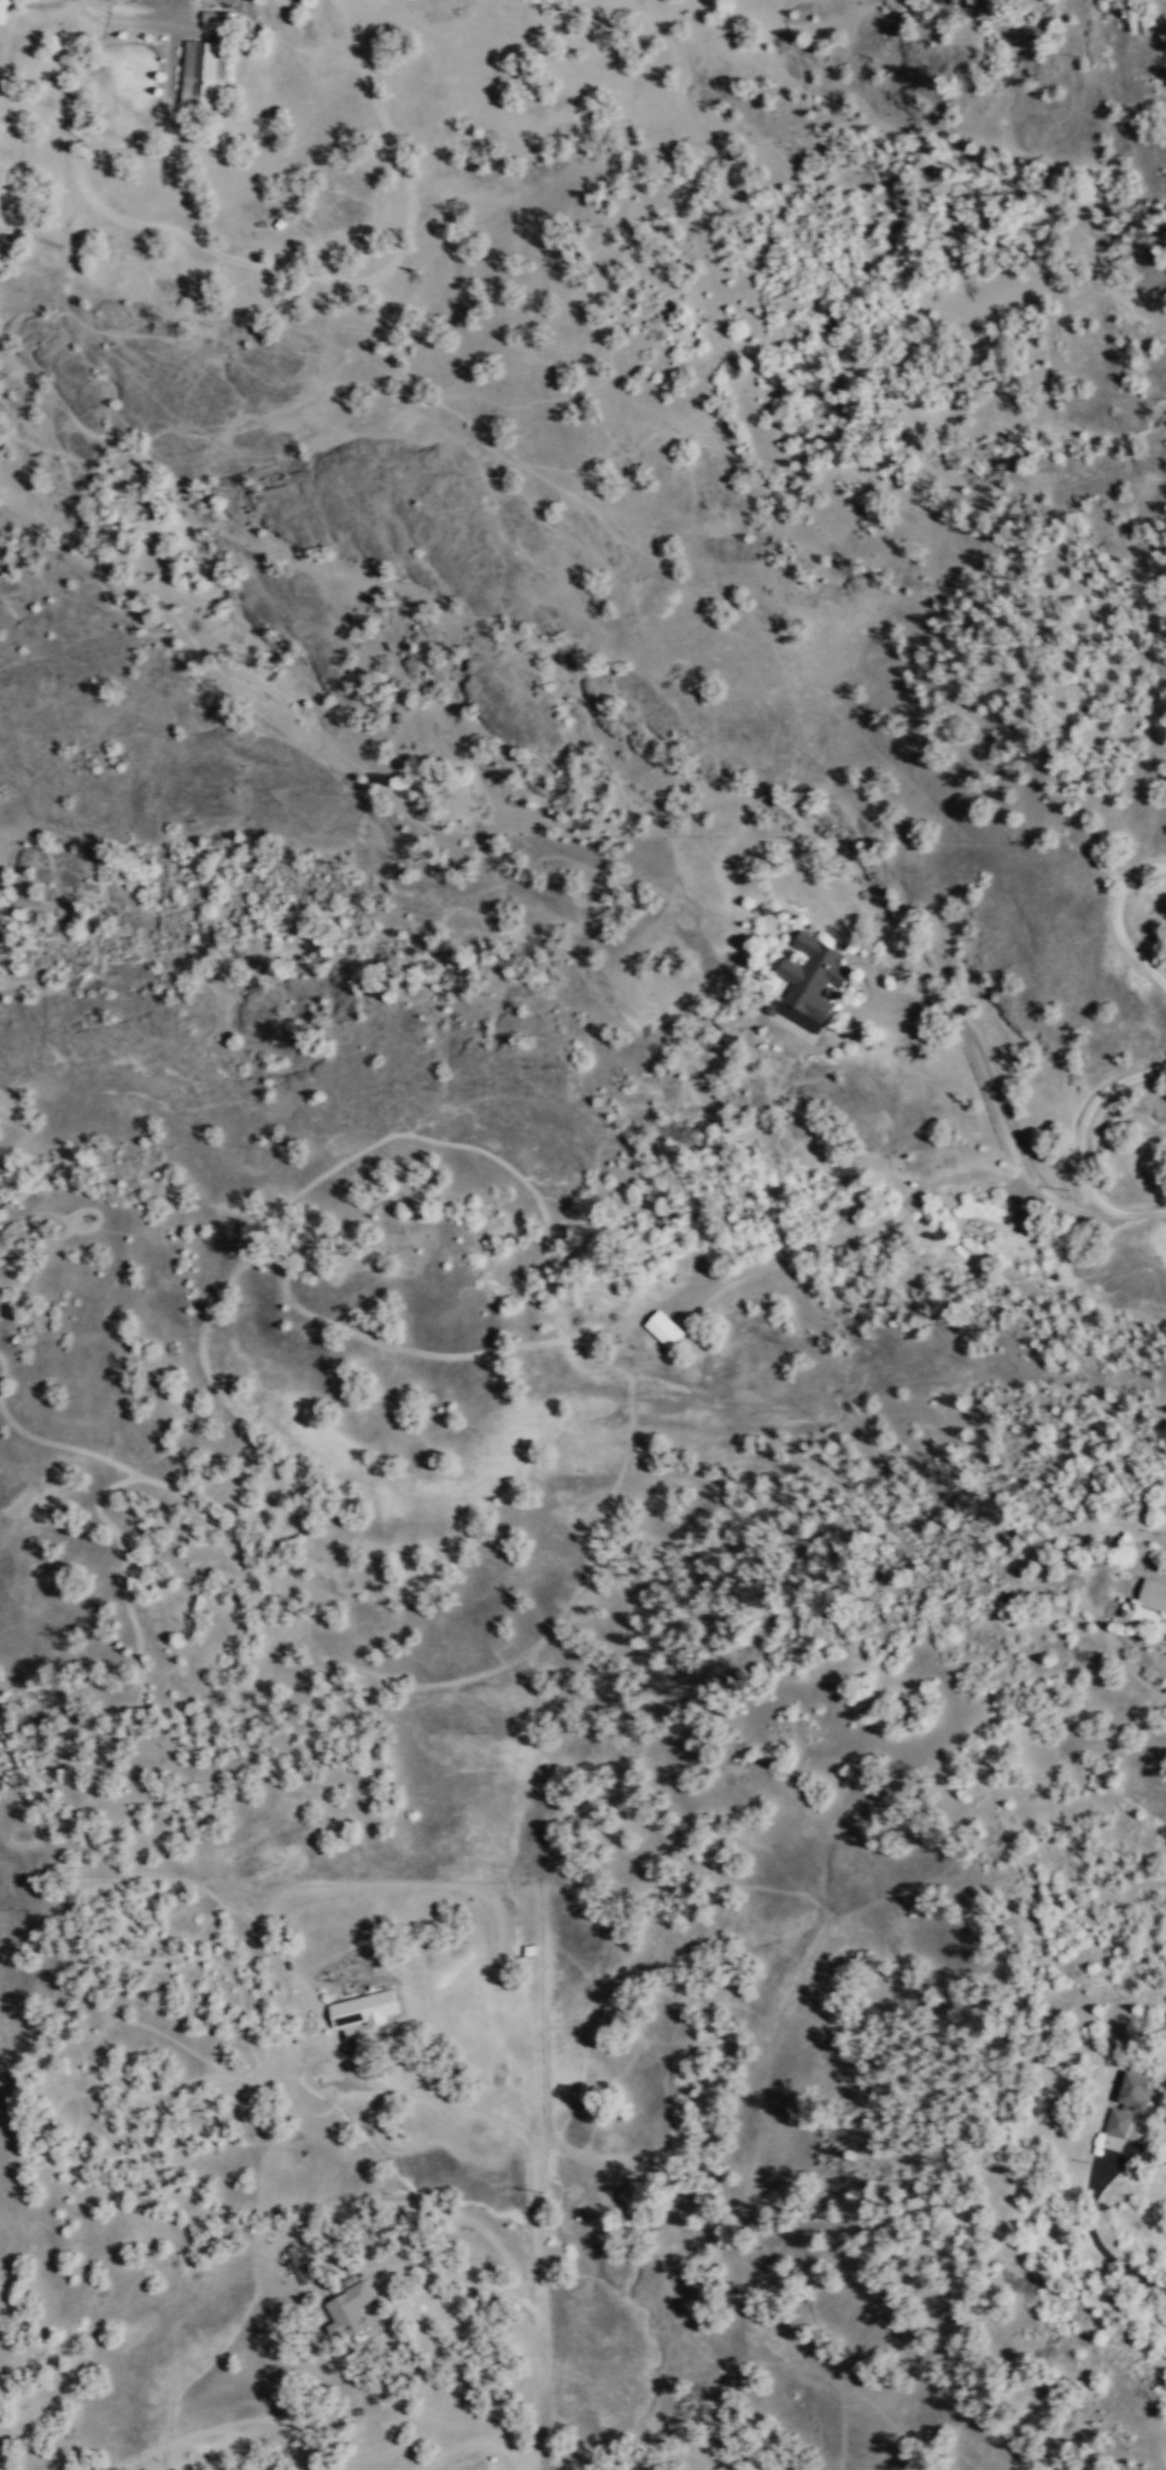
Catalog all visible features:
building: (4, 10)
building: (205, 70)
road: (1117, 1213)
building: (664, 1327)
building: (1159, 1588)
road: (1119, 1652)
building: (364, 2007)
building: (1133, 2097)
road: (535, 2219)
road: (1142, 2270)
road: (461, 2278)

